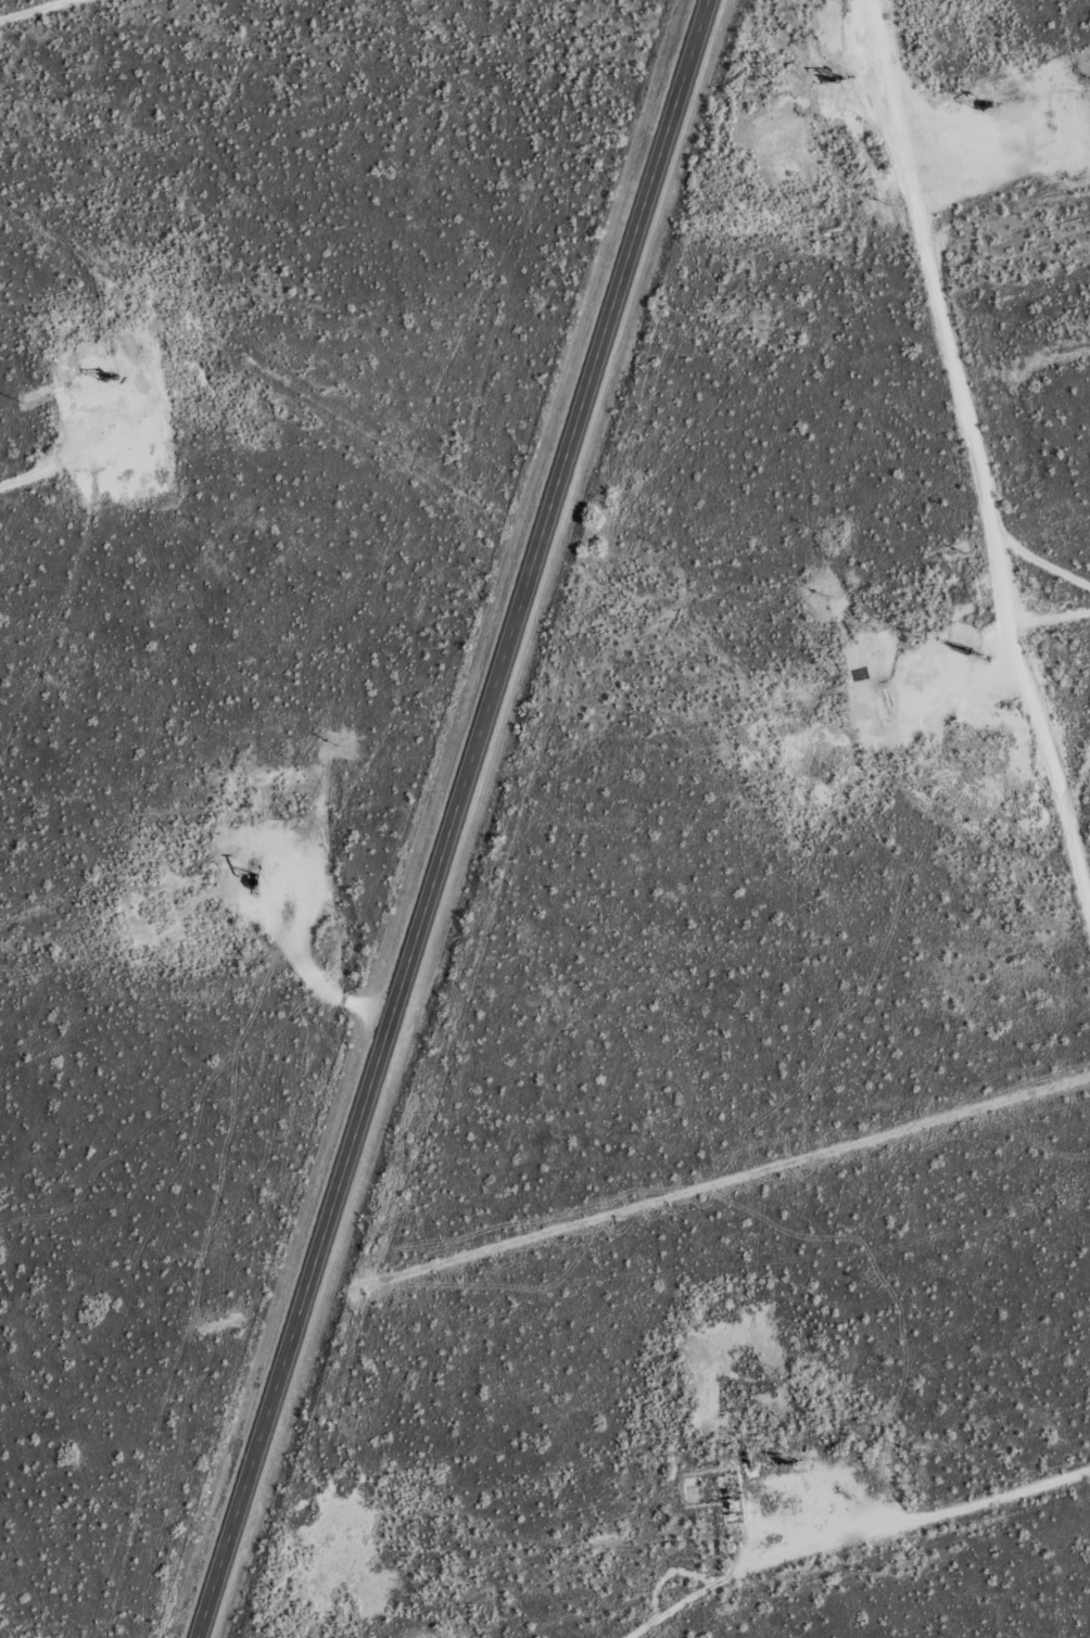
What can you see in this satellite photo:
road: (20, 5)
road: (451, 817)

